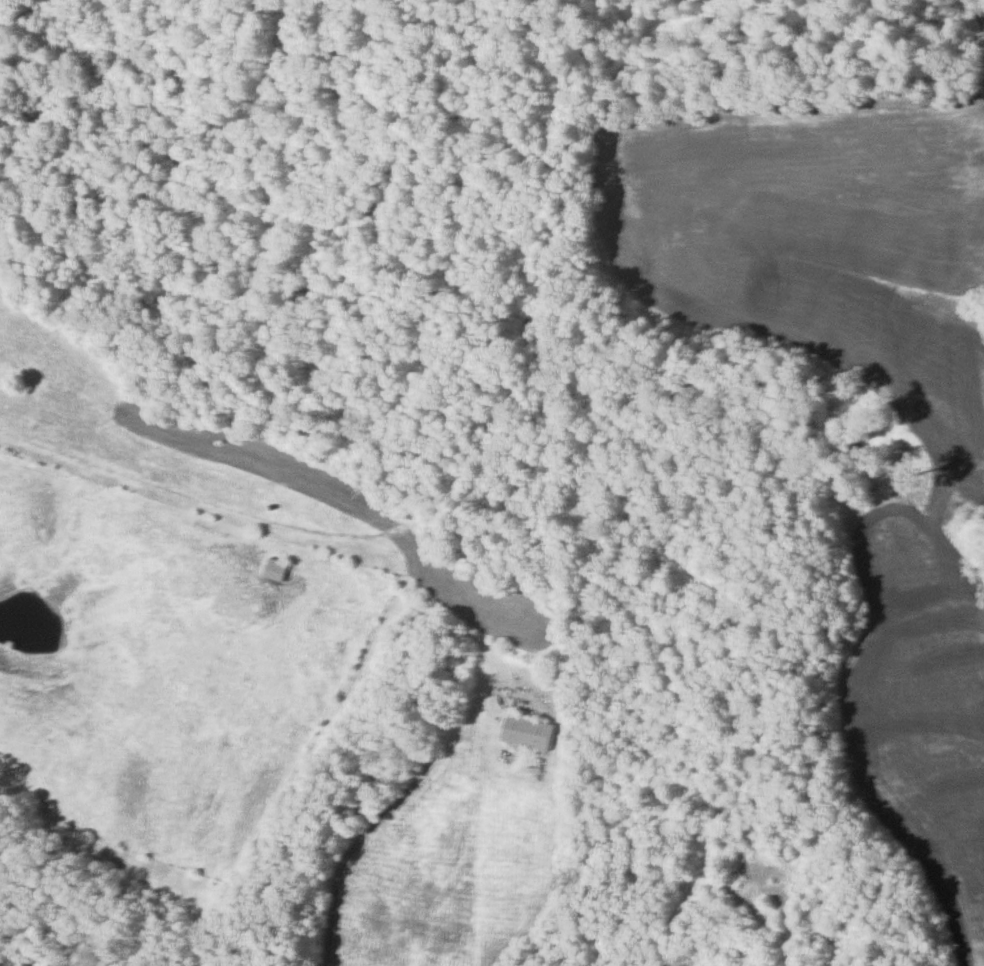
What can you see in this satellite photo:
road: (291, 534)
building: (277, 568)
building: (528, 732)

